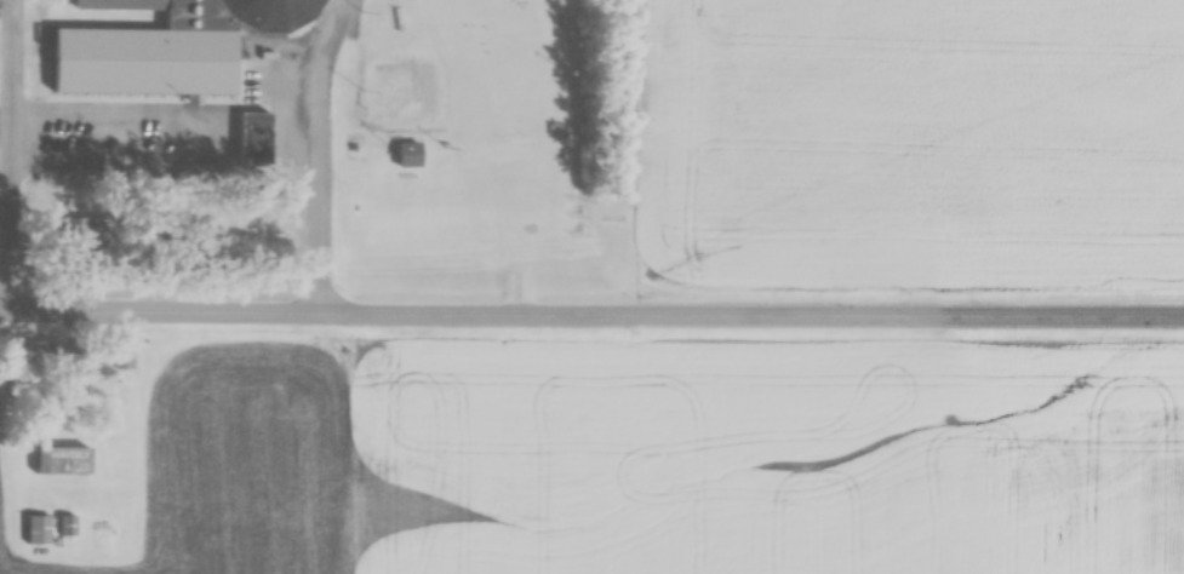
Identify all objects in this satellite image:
road: (330, 25)
building: (156, 50)
park: (485, 74)
road: (311, 85)
park: (395, 91)
building: (251, 139)
road: (307, 222)
road: (591, 325)
building: (45, 357)
building: (120, 357)
building: (62, 461)
building: (65, 527)
building: (36, 530)

